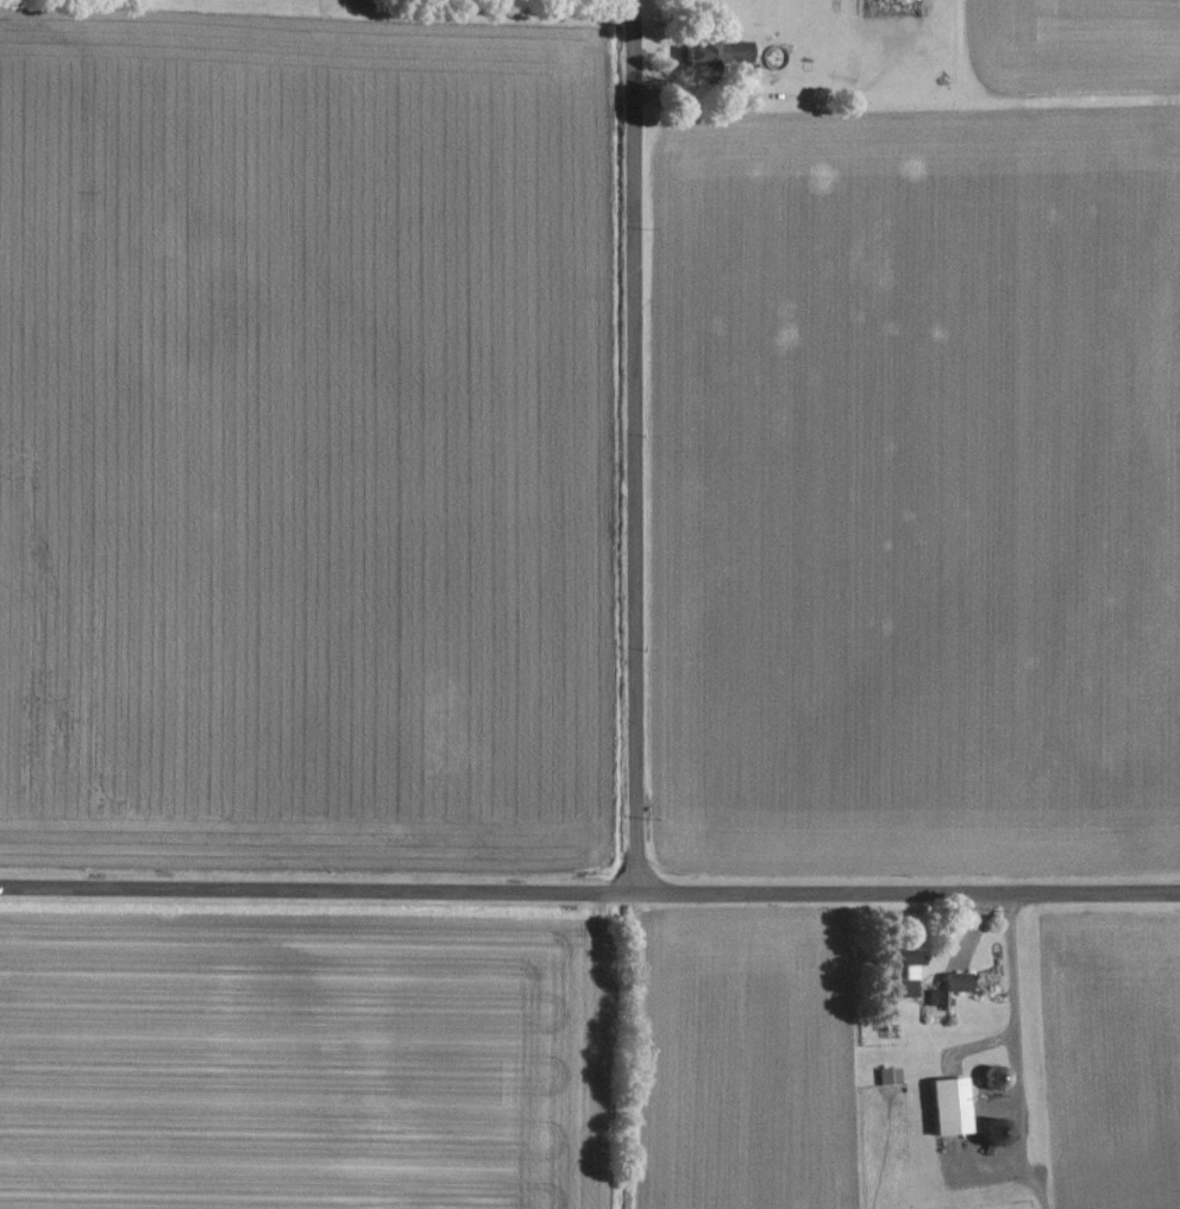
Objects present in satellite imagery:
building: (735, 50)
building: (699, 52)
road: (632, 445)
road: (589, 889)
building: (900, 970)
building: (948, 986)
road: (1011, 994)
building: (887, 1075)
building: (948, 1104)

